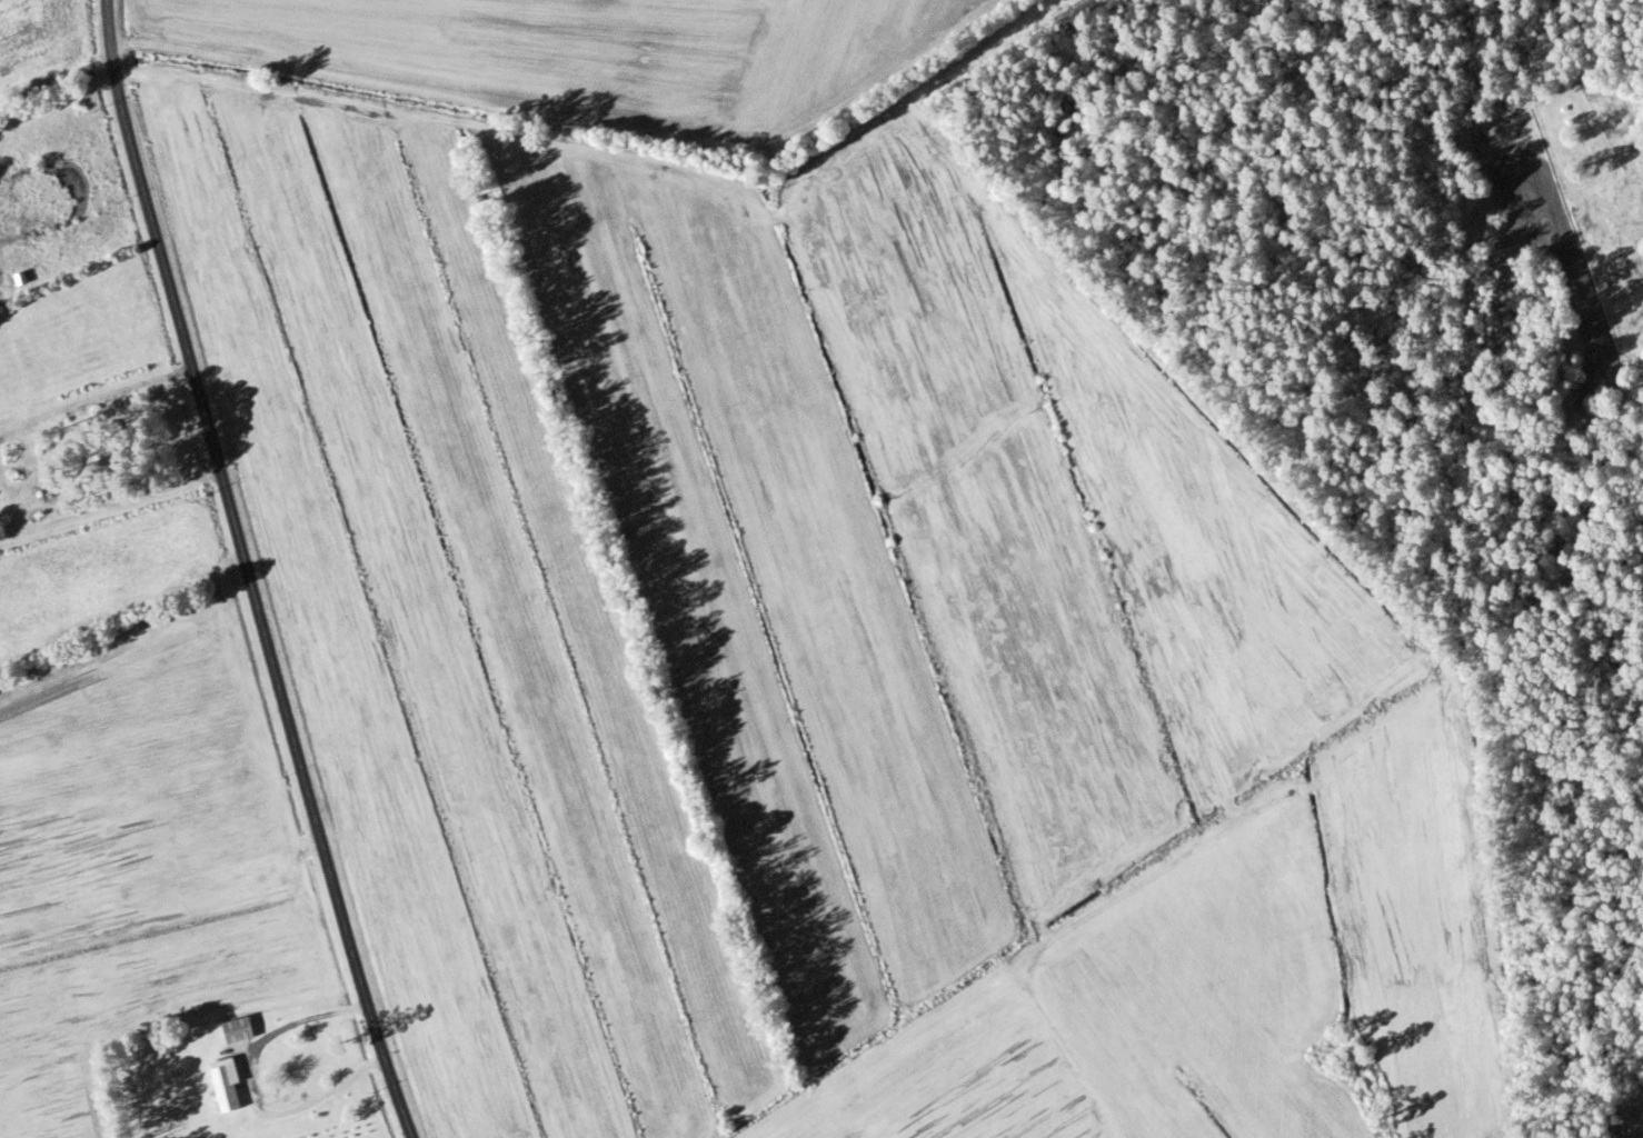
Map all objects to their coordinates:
road: (250, 571)
building: (235, 1029)
building: (222, 1085)

